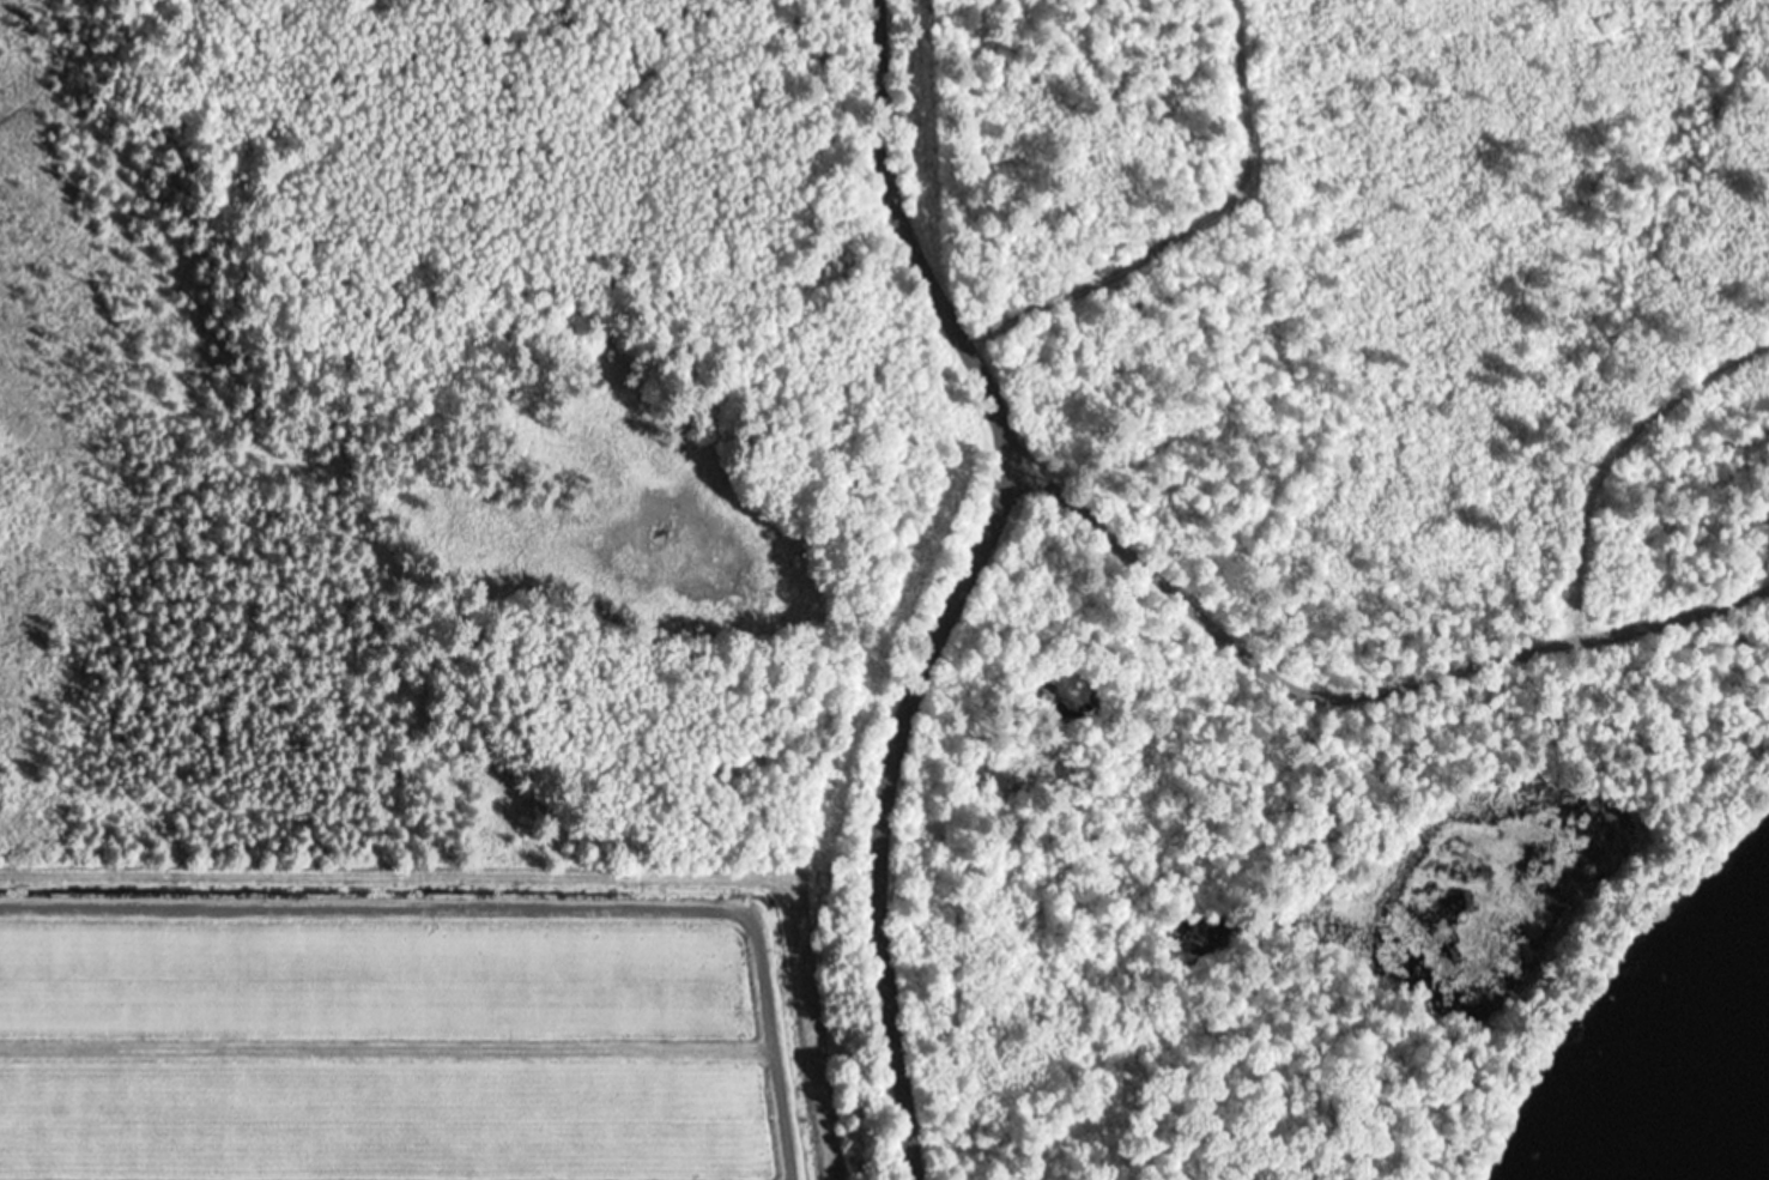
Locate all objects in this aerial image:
road: (956, 581)
road: (1353, 686)
crop: (412, 1022)

